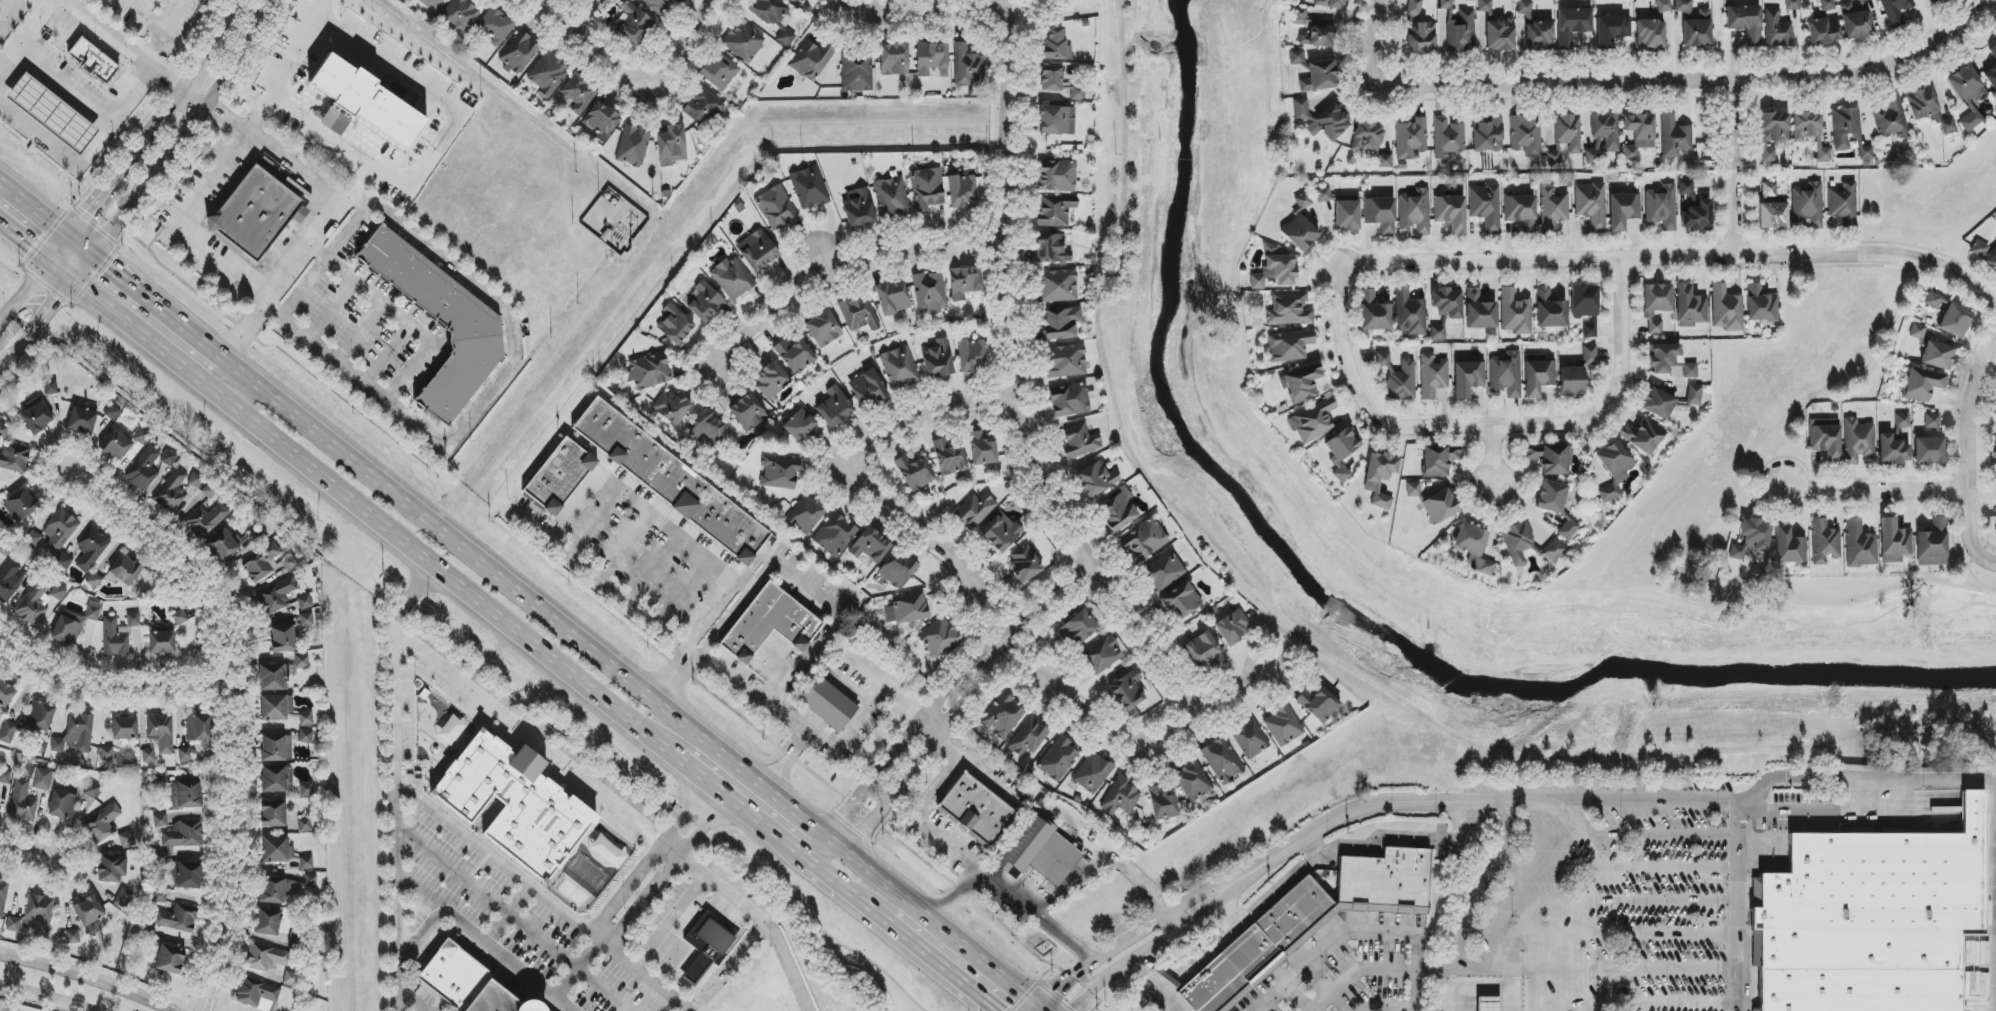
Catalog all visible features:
building: (799, 1)
building: (1861, 1)
building: (1932, 2)
building: (431, 3)
building: (1329, 4)
building: (1445, 4)
building: (657, 5)
building: (1792, 5)
building: (1827, 5)
building: (1663, 6)
building: (1414, 7)
building: (1684, 8)
building: (1896, 11)
building: (460, 15)
road: (138, 16)
road: (934, 16)
building: (1299, 16)
road: (12, 19)
building: (774, 19)
building: (1745, 22)
building: (1855, 23)
building: (634, 25)
building: (1572, 25)
building: (495, 26)
building: (1536, 29)
road: (162, 30)
building: (1494, 30)
building: (1611, 30)
building: (1697, 30)
building: (1777, 30)
building: (1462, 33)
building: (1823, 33)
road: (27, 34)
building: (1650, 34)
building: (1317, 37)
building: (1422, 38)
road: (593, 41)
road: (681, 41)
building: (744, 42)
building: (1056, 45)
road: (1369, 49)
building: (1993, 51)
building: (519, 53)
building: (1296, 58)
building: (894, 59)
building: (932, 59)
building: (812, 60)
building: (94, 61)
building: (967, 66)
road: (1702, 67)
building: (719, 72)
building: (856, 74)
building: (547, 75)
building: (1319, 77)
building: (1991, 78)
building: (1059, 82)
road: (63, 84)
building: (1966, 85)
building: (578, 93)
building: (368, 102)
road: (446, 107)
building: (702, 107)
building: (1927, 108)
building: (52, 113)
gas station: (52, 113)
building: (1890, 119)
building: (1057, 120)
building: (601, 121)
building: (1970, 121)
road: (158, 122)
building: (334, 122)
building: (1774, 127)
building: (1807, 127)
building: (1845, 129)
building: (1568, 132)
road: (188, 133)
building: (1638, 134)
building: (1526, 136)
building: (1602, 137)
building: (1674, 137)
building: (1411, 138)
building: (1447, 138)
building: (1370, 143)
building: (670, 144)
building: (633, 146)
building: (1865, 153)
road: (83, 154)
building: (1823, 154)
building: (1768, 156)
building: (1553, 157)
road: (283, 160)
road: (1729, 161)
building: (1057, 176)
building: (809, 187)
building: (927, 189)
building: (1768, 190)
building: (961, 191)
building: (1322, 194)
building: (891, 197)
road: (358, 201)
building: (1303, 201)
building: (1808, 204)
building: (1843, 204)
building: (1591, 205)
building: (775, 207)
building: (1485, 207)
building: (1661, 207)
building: (1553, 208)
building: (858, 209)
building: (1693, 209)
road: (34, 210)
building: (1623, 210)
building: (1415, 211)
building: (1055, 212)
building: (1521, 212)
traffic signals: (86, 213)
building: (1380, 213)
building: (1450, 213)
building: (259, 216)
building: (1347, 216)
building: (1772, 216)
road: (180, 225)
building: (1299, 232)
road: (23, 241)
traffic signals: (30, 247)
road: (80, 247)
building: (1052, 249)
building: (1979, 249)
building: (757, 250)
road: (1670, 257)
building: (1991, 258)
road: (837, 259)
road: (60, 270)
traffic signals: (109, 270)
road: (32, 278)
building: (732, 278)
building: (962, 283)
road: (129, 286)
building: (1059, 286)
building: (930, 293)
building: (893, 298)
traffic signals: (56, 300)
building: (1933, 300)
building: (1584, 301)
building: (705, 302)
building: (1447, 304)
building: (1761, 305)
building: (1656, 307)
building: (1689, 307)
building: (1288, 309)
building: (1726, 309)
building: (1549, 310)
road: (46, 311)
building: (1479, 311)
building: (1374, 313)
building: (1515, 313)
building: (858, 314)
building: (1409, 314)
building: (1954, 320)
road: (407, 322)
building: (443, 322)
building: (1061, 323)
building: (675, 324)
building: (823, 328)
building: (1589, 330)
building: (1916, 331)
building: (1437, 332)
road: (195, 339)
building: (1289, 346)
building: (971, 355)
building: (1937, 355)
building: (795, 356)
building: (1662, 358)
building: (938, 360)
building: (1066, 361)
building: (900, 368)
building: (1690, 370)
building: (649, 371)
building: (1576, 373)
building: (1505, 374)
building: (1537, 375)
building: (1397, 376)
building: (1432, 376)
building: (1468, 378)
building: (771, 380)
road: (493, 383)
building: (1301, 383)
building: (1922, 384)
road: (1013, 386)
building: (867, 388)
building: (1694, 395)
building: (1069, 400)
building: (1657, 403)
building: (670, 407)
building: (834, 407)
building: (112, 412)
building: (747, 412)
building: (35, 416)
building: (83, 421)
building: (1312, 421)
building: (1931, 421)
building: (802, 426)
building: (707, 429)
road: (1484, 430)
building: (1643, 436)
building: (142, 437)
building: (1825, 438)
building: (1857, 441)
building: (1078, 443)
building: (1895, 443)
building: (116, 445)
road: (1972, 447)
building: (982, 450)
building: (1928, 451)
building: (1341, 452)
building: (14, 458)
building: (168, 458)
building: (949, 458)
building: (1552, 458)
building: (1439, 460)
road: (1490, 461)
road: (850, 464)
building: (144, 469)
building: (1614, 469)
building: (779, 472)
building: (914, 473)
building: (1380, 477)
building: (564, 479)
building: (1095, 479)
building: (195, 480)
building: (674, 483)
building: (211, 489)
building: (1413, 490)
road: (1879, 490)
building: (172, 491)
building: (1551, 497)
building: (20, 505)
building: (1439, 506)
building: (974, 511)
building: (1118, 511)
building: (806, 514)
building: (208, 518)
road: (375, 520)
road: (593, 522)
building: (1568, 529)
building: (59, 531)
road: (542, 531)
building: (1001, 532)
building: (835, 535)
building: (1751, 538)
building: (1144, 540)
building: (1517, 542)
building: (1823, 542)
building: (1894, 542)
building: (1932, 544)
building: (222, 545)
building: (1859, 545)
building: (870, 546)
building: (1474, 547)
building: (1789, 547)
building: (91, 548)
building: (4, 549)
building: (1554, 551)
road: (1985, 557)
building: (261, 558)
building: (289, 562)
building: (1025, 563)
building: (125, 570)
building: (897, 570)
building: (1166, 574)
building: (11, 580)
building: (94, 580)
building: (58, 592)
building: (276, 595)
road: (1055, 596)
building: (1182, 600)
building: (305, 602)
building: (34, 603)
building: (906, 609)
road: (837, 610)
building: (93, 611)
building: (307, 619)
building: (133, 620)
building: (772, 626)
building: (180, 628)
building: (1233, 628)
building: (68, 629)
building: (1077, 629)
building: (284, 636)
building: (939, 637)
building: (161, 642)
road: (702, 643)
road: (1304, 645)
building: (1205, 650)
building: (1102, 655)
road: (777, 661)
building: (279, 674)
road: (105, 680)
road: (632, 683)
road: (851, 688)
building: (1127, 690)
building: (6, 694)
road: (757, 700)
building: (825, 704)
road: (903, 704)
building: (1318, 705)
building: (276, 708)
road: (222, 715)
building: (1002, 716)
building: (306, 719)
building: (30, 721)
road: (917, 722)
road: (932, 726)
building: (1283, 726)
building: (125, 728)
building: (199, 728)
road: (851, 731)
road: (536, 732)
building: (161, 733)
building: (75, 734)
building: (305, 736)
building: (1028, 738)
building: (1249, 739)
road: (937, 740)
road: (1157, 746)
building: (276, 748)
building: (107, 754)
building: (185, 755)
building: (148, 756)
building: (482, 757)
building: (1058, 759)
road: (768, 760)
building: (1222, 760)
building: (1093, 773)
road: (786, 774)
building: (5, 776)
road: (1862, 777)
building: (42, 779)
building: (277, 779)
building: (1193, 781)
building: (159, 782)
road: (395, 783)
building: (92, 789)
building: (306, 790)
road: (718, 791)
building: (186, 793)
building: (1121, 798)
building: (22, 801)
road: (1469, 802)
building: (1162, 804)
building: (62, 805)
building: (493, 807)
building: (974, 810)
building: (273, 813)
road: (1810, 813)
building: (101, 823)
road: (1064, 823)
building: (304, 825)
building: (178, 832)
road: (1623, 835)
road: (803, 839)
building: (126, 840)
road: (781, 840)
road: (944, 843)
road: (1313, 846)
building: (275, 849)
road: (25, 850)
building: (608, 852)
building: (1040, 854)
road: (690, 856)
building: (306, 863)
road: (499, 863)
road: (1306, 867)
building: (112, 868)
road: (1617, 868)
building: (181, 872)
road: (716, 878)
building: (310, 880)
road: (1069, 884)
building: (276, 889)
road: (844, 889)
building: (160, 894)
building: (3, 896)
building: (123, 898)
road: (489, 898)
road: (1606, 901)
road: (1473, 904)
road: (1737, 905)
road: (1230, 908)
building: (88, 910)
building: (40, 913)
road: (510, 913)
building: (178, 918)
road: (1994, 918)
road: (1036, 919)
building: (1872, 919)
building: (267, 922)
building: (1310, 922)
building: (13, 925)
road: (1360, 932)
road: (1599, 933)
road: (1127, 938)
building: (72, 939)
road: (906, 939)
building: (295, 941)
building: (712, 945)
road: (1149, 950)
building: (265, 957)
building: (170, 960)
road: (726, 964)
road: (1625, 970)
road: (1506, 971)
road: (576, 972)
road: (1358, 974)
building: (457, 975)
road: (92, 976)
building: (291, 980)
road: (662, 982)
road: (961, 983)
road: (1156, 984)
road: (609, 989)
road: (1479, 989)
traffic signals: (1057, 990)
road: (1532, 991)
building: (258, 994)
road: (43, 998)
road: (1297, 998)
building: (508, 1000)
road: (568, 1002)
road: (1634, 1003)
building: (1488, 1004)
road: (694, 1008)
road: (1037, 1008)
road: (1042, 1008)

